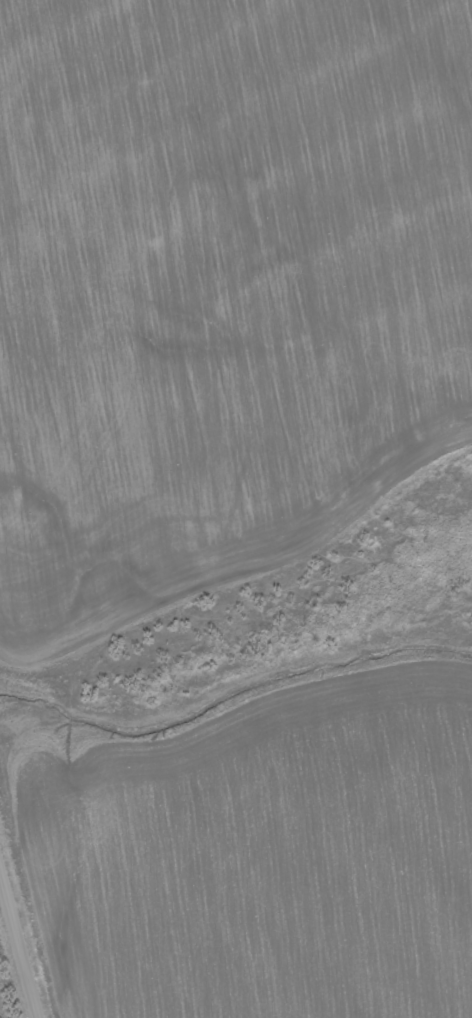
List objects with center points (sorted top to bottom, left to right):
road: (17, 946)

